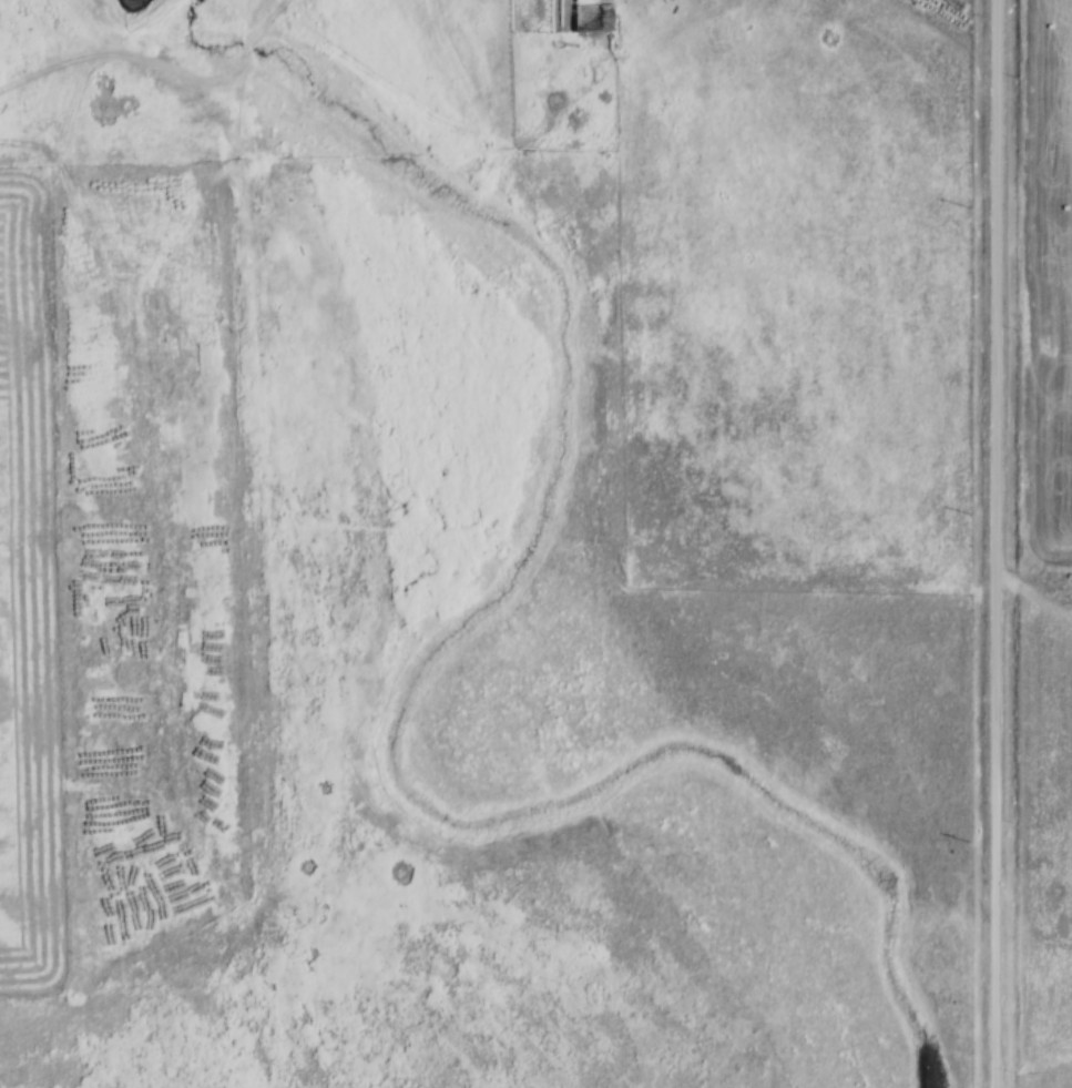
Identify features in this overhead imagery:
building: (593, 19)
road: (997, 543)

